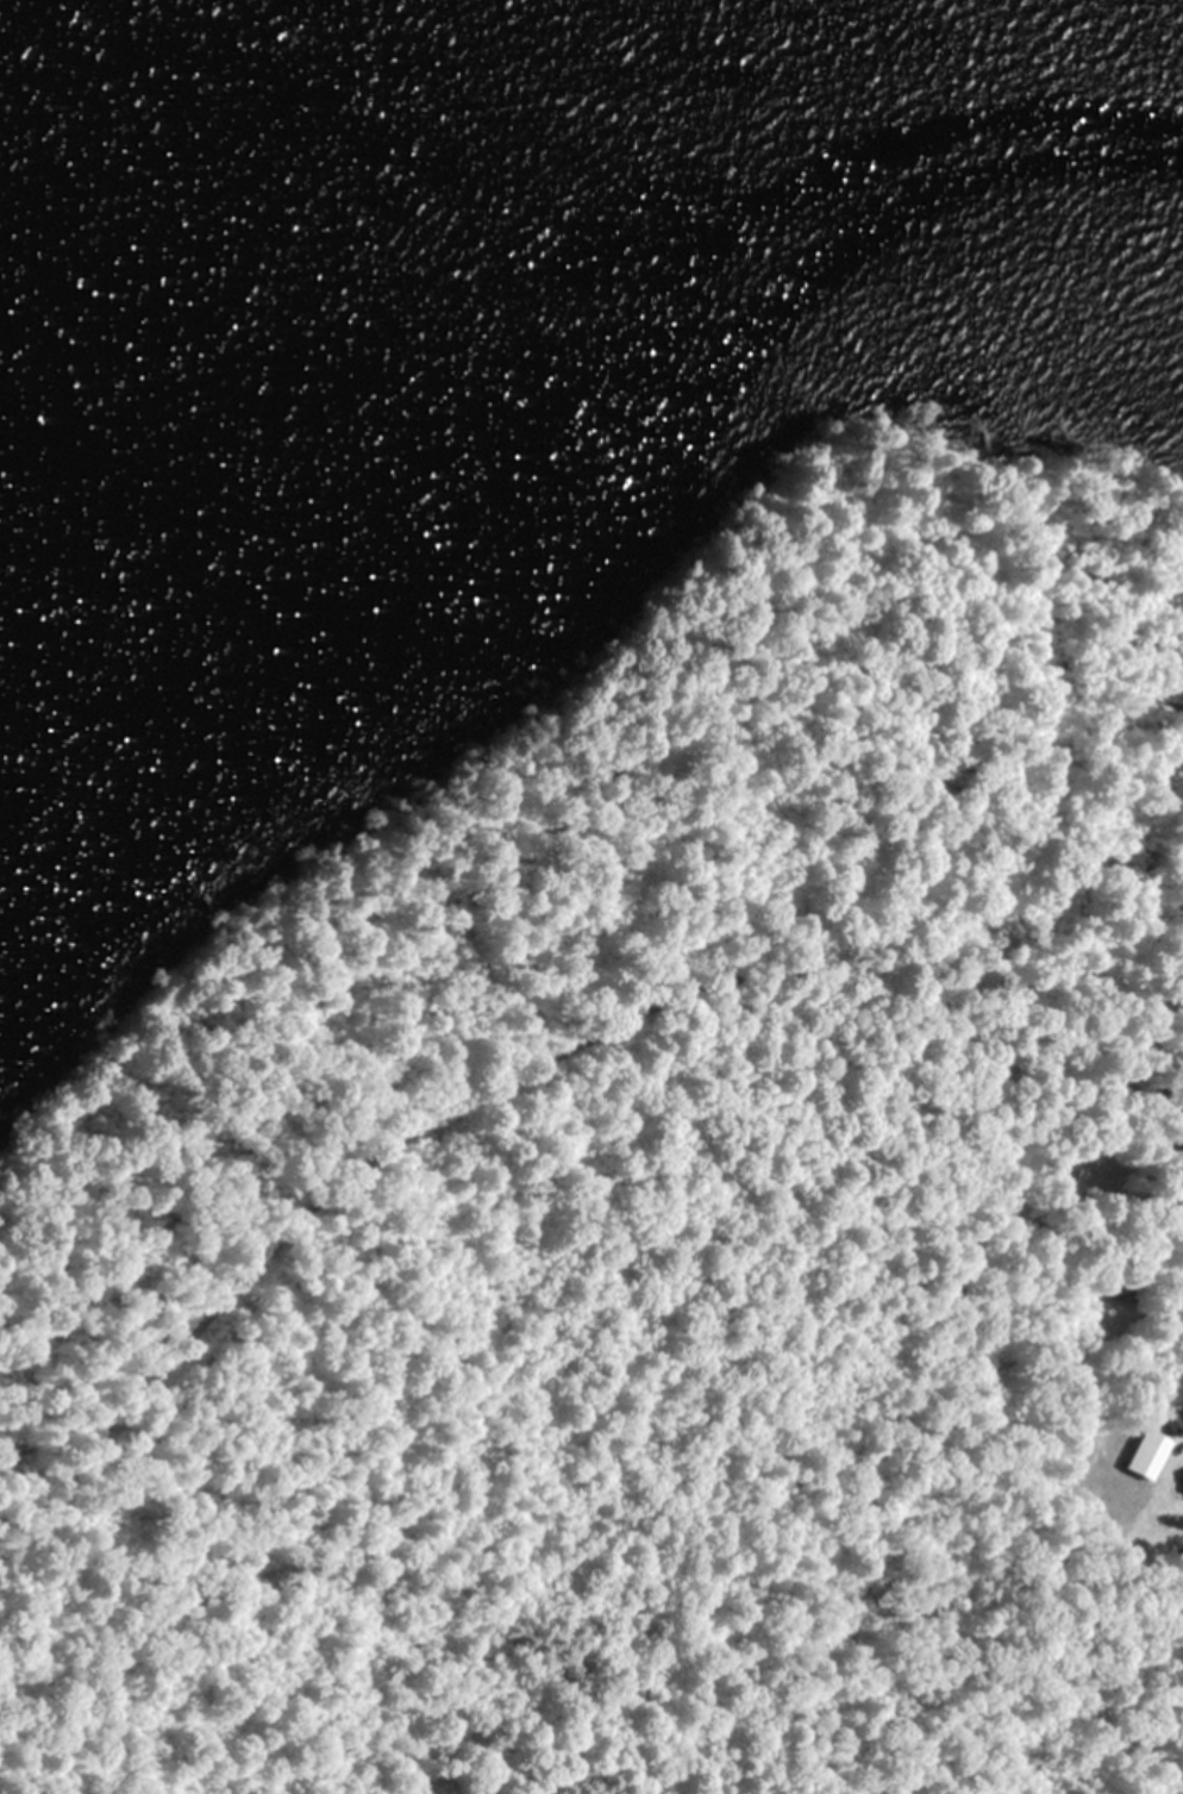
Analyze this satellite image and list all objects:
road: (1091, 1014)
road: (438, 1127)
building: (1120, 1287)
building: (1182, 1473)

